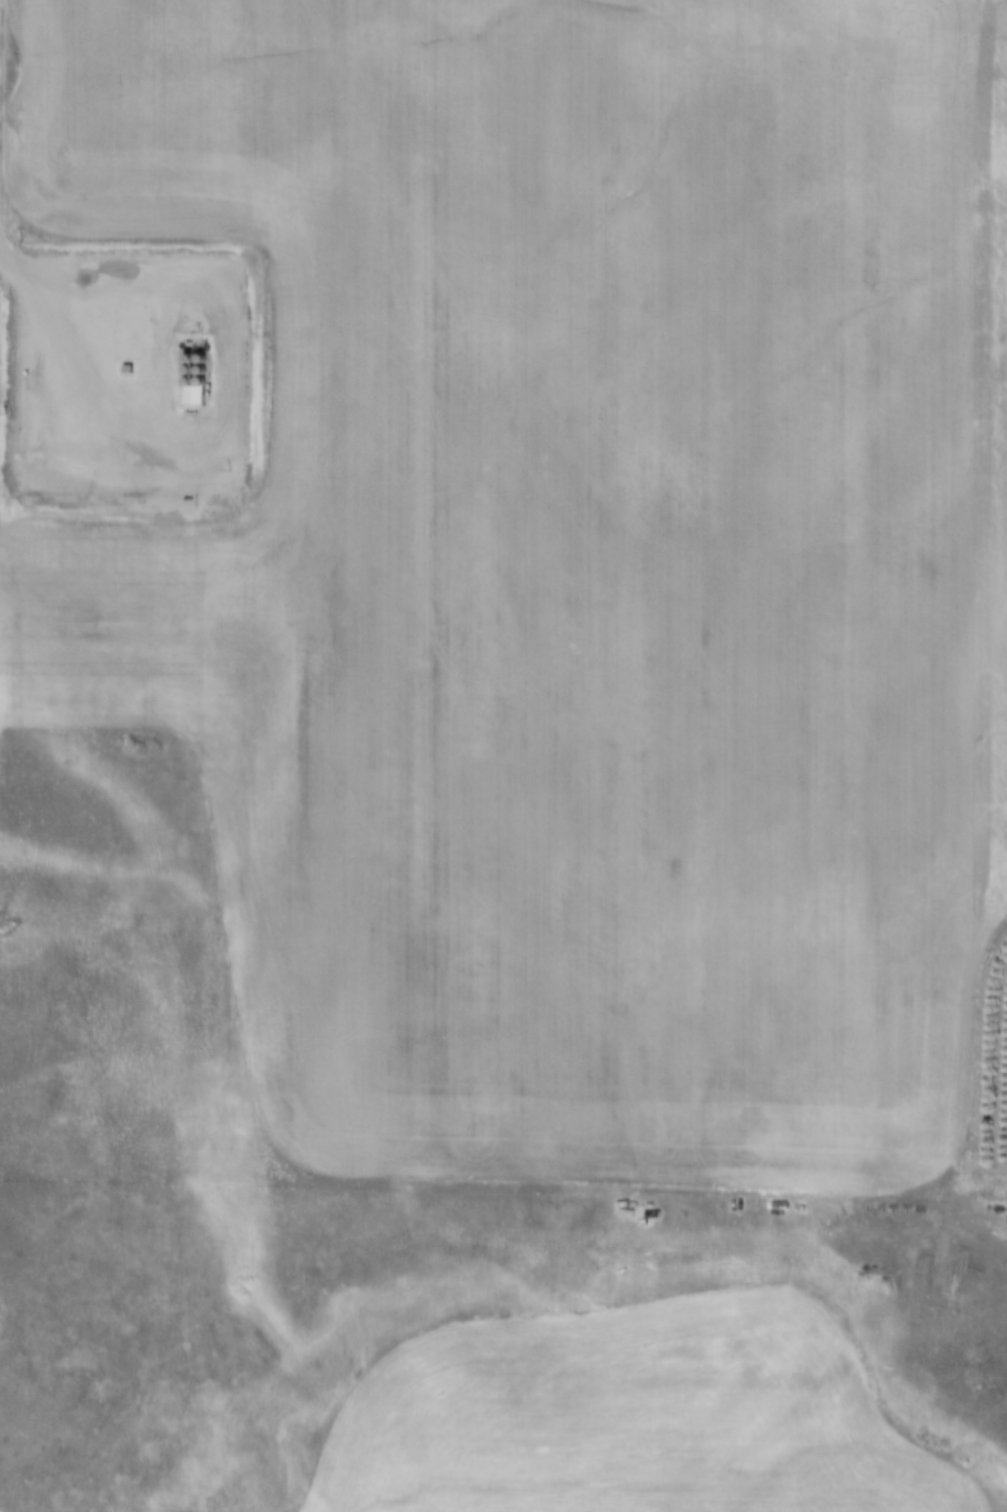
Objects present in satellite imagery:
road: (7, 226)
building: (193, 388)
road: (944, 1241)

